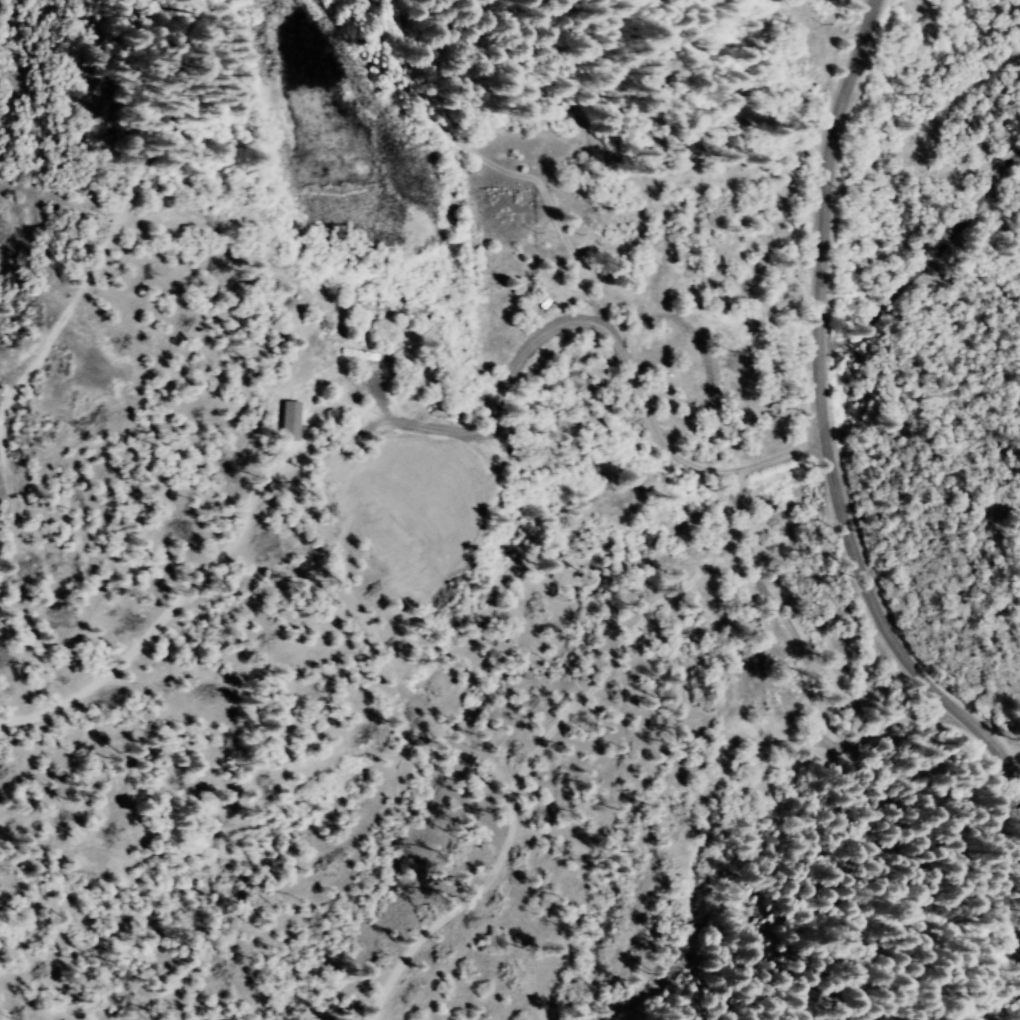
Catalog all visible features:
road: (899, 267)
building: (289, 420)
road: (731, 523)
road: (378, 614)
road: (500, 633)
road: (481, 789)
road: (600, 880)
road: (786, 901)

